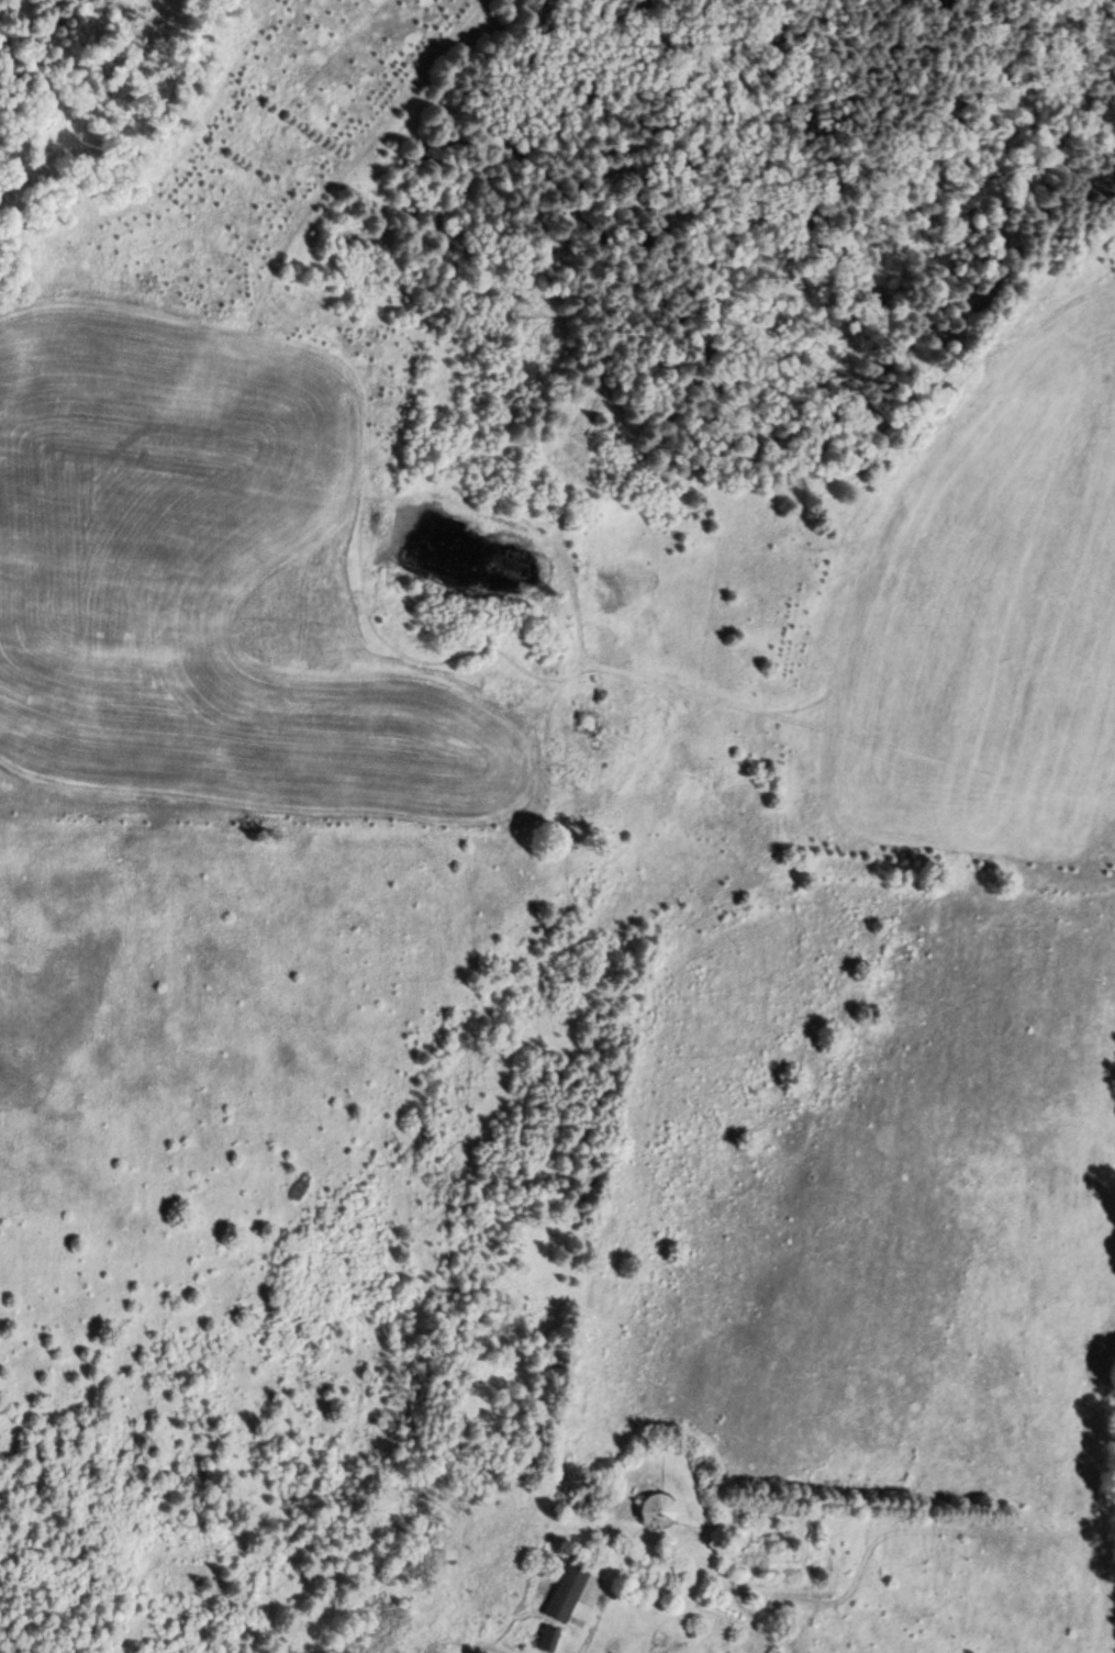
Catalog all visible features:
building: (656, 1506)
building: (564, 1591)
building: (546, 1638)

